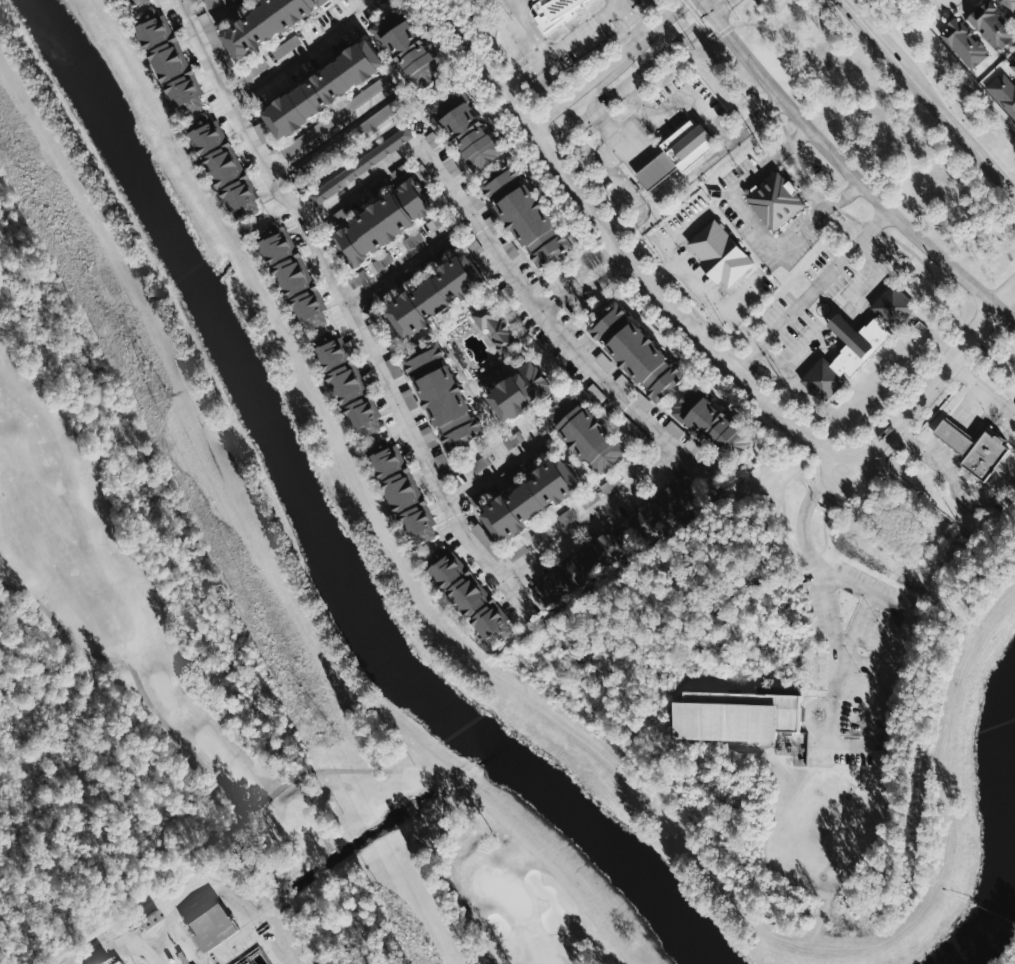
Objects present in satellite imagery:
road: (183, 0)
building: (537, 1)
road: (520, 2)
building: (131, 4)
road: (526, 4)
building: (1009, 5)
road: (233, 6)
road: (625, 7)
road: (722, 8)
building: (555, 12)
road: (317, 15)
traffic signals: (713, 16)
road: (211, 18)
building: (265, 24)
road: (751, 24)
road: (638, 25)
building: (992, 25)
road: (532, 27)
parking lot: (594, 27)
road: (585, 28)
road: (281, 40)
building: (964, 42)
building: (411, 47)
road: (299, 55)
building: (170, 59)
road: (323, 62)
road: (249, 64)
building: (1013, 64)
road: (609, 68)
road: (941, 68)
building: (255, 69)
road: (524, 72)
road: (393, 73)
road: (629, 82)
building: (326, 87)
road: (598, 87)
building: (1004, 89)
road: (355, 92)
road: (550, 95)
road: (928, 99)
road: (694, 100)
road: (640, 101)
parking lot: (680, 104)
road: (756, 119)
building: (469, 129)
road: (619, 129)
road: (335, 131)
building: (434, 140)
building: (686, 145)
road: (786, 147)
building: (222, 163)
building: (362, 165)
road: (848, 169)
building: (657, 170)
road: (618, 177)
road: (472, 183)
road: (670, 184)
building: (776, 200)
road: (831, 201)
road: (837, 202)
building: (526, 214)
parking lot: (747, 218)
building: (385, 222)
road: (755, 225)
road: (627, 227)
road: (871, 228)
building: (512, 248)
road: (627, 251)
building: (721, 252)
parking lot: (679, 253)
road: (407, 257)
road: (595, 259)
building: (383, 261)
road: (564, 262)
road: (508, 266)
road: (663, 270)
road: (606, 275)
building: (293, 277)
road: (691, 279)
road: (811, 290)
building: (436, 294)
road: (560, 297)
road: (1006, 297)
parking lot: (817, 299)
road: (685, 300)
road: (350, 308)
road: (467, 316)
road: (507, 319)
road: (445, 322)
road: (834, 322)
road: (713, 323)
road: (507, 325)
building: (496, 327)
building: (842, 328)
road: (524, 338)
road: (446, 340)
building: (861, 343)
road: (520, 347)
road: (516, 350)
building: (638, 352)
road: (753, 352)
road: (690, 353)
road: (501, 363)
road: (546, 367)
building: (395, 368)
road: (551, 370)
road: (503, 375)
road: (630, 378)
road: (978, 382)
building: (346, 383)
road: (466, 384)
road: (924, 389)
building: (519, 393)
power tower: (161, 394)
building: (444, 395)
road: (556, 395)
building: (644, 401)
road: (1011, 409)
parking lot: (1007, 419)
building: (714, 424)
road: (959, 425)
building: (587, 434)
building: (957, 439)
road: (922, 451)
building: (987, 456)
building: (481, 463)
road: (495, 469)
building: (399, 488)
parking lot: (980, 488)
road: (498, 490)
road: (988, 497)
building: (533, 499)
building: (592, 499)
building: (665, 507)
road: (803, 509)
road: (591, 515)
road: (826, 540)
building: (517, 552)
building: (587, 566)
road: (804, 576)
road: (2, 582)
building: (469, 597)
road: (831, 607)
road: (881, 655)
parking lot: (857, 658)
road: (839, 665)
park: (240, 694)
road: (810, 712)
building: (736, 714)
power tower: (333, 739)
road: (270, 794)
wastewater plant: (173, 855)
building: (221, 925)
road: (124, 947)
building: (119, 960)

